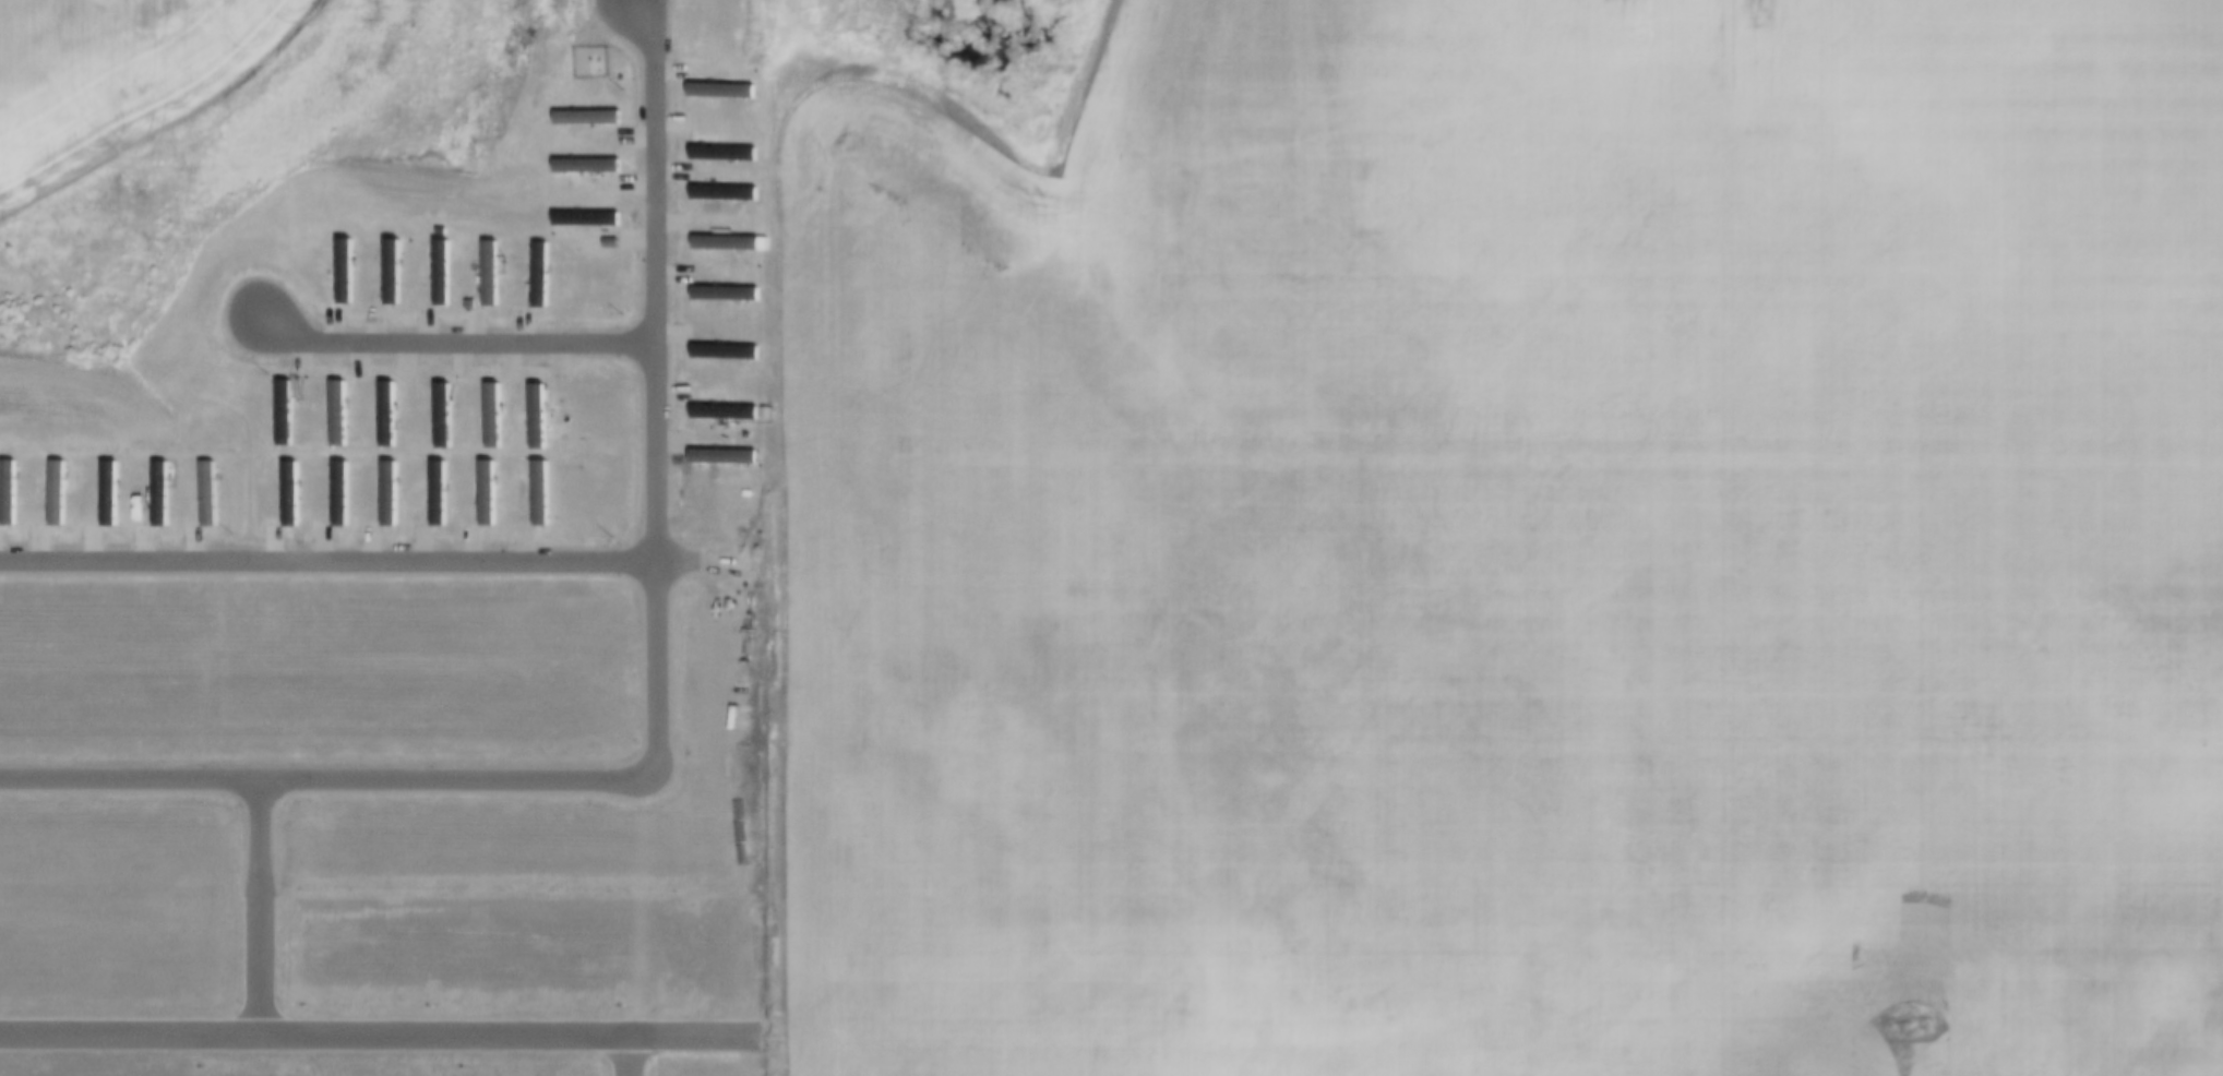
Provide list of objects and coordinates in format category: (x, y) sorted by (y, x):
building: (719, 94)
building: (585, 123)
building: (720, 157)
building: (584, 169)
building: (721, 196)
building: (584, 224)
building: (438, 236)
building: (724, 248)
building: (342, 276)
building: (389, 276)
building: (438, 276)
building: (486, 278)
building: (537, 278)
building: (722, 298)
road: (452, 342)
building: (722, 357)
building: (280, 417)
building: (335, 417)
building: (722, 417)
building: (384, 418)
building: (440, 418)
building: (489, 419)
building: (535, 420)
building: (722, 462)
building: (434, 495)
building: (485, 495)
building: (5, 497)
building: (336, 497)
building: (385, 497)
building: (538, 497)
building: (55, 498)
building: (107, 498)
building: (158, 498)
building: (207, 499)
building: (288, 499)
road: (364, 564)
road: (652, 706)
road: (253, 906)
road: (312, 1035)
road: (688, 1037)
road: (624, 1056)

